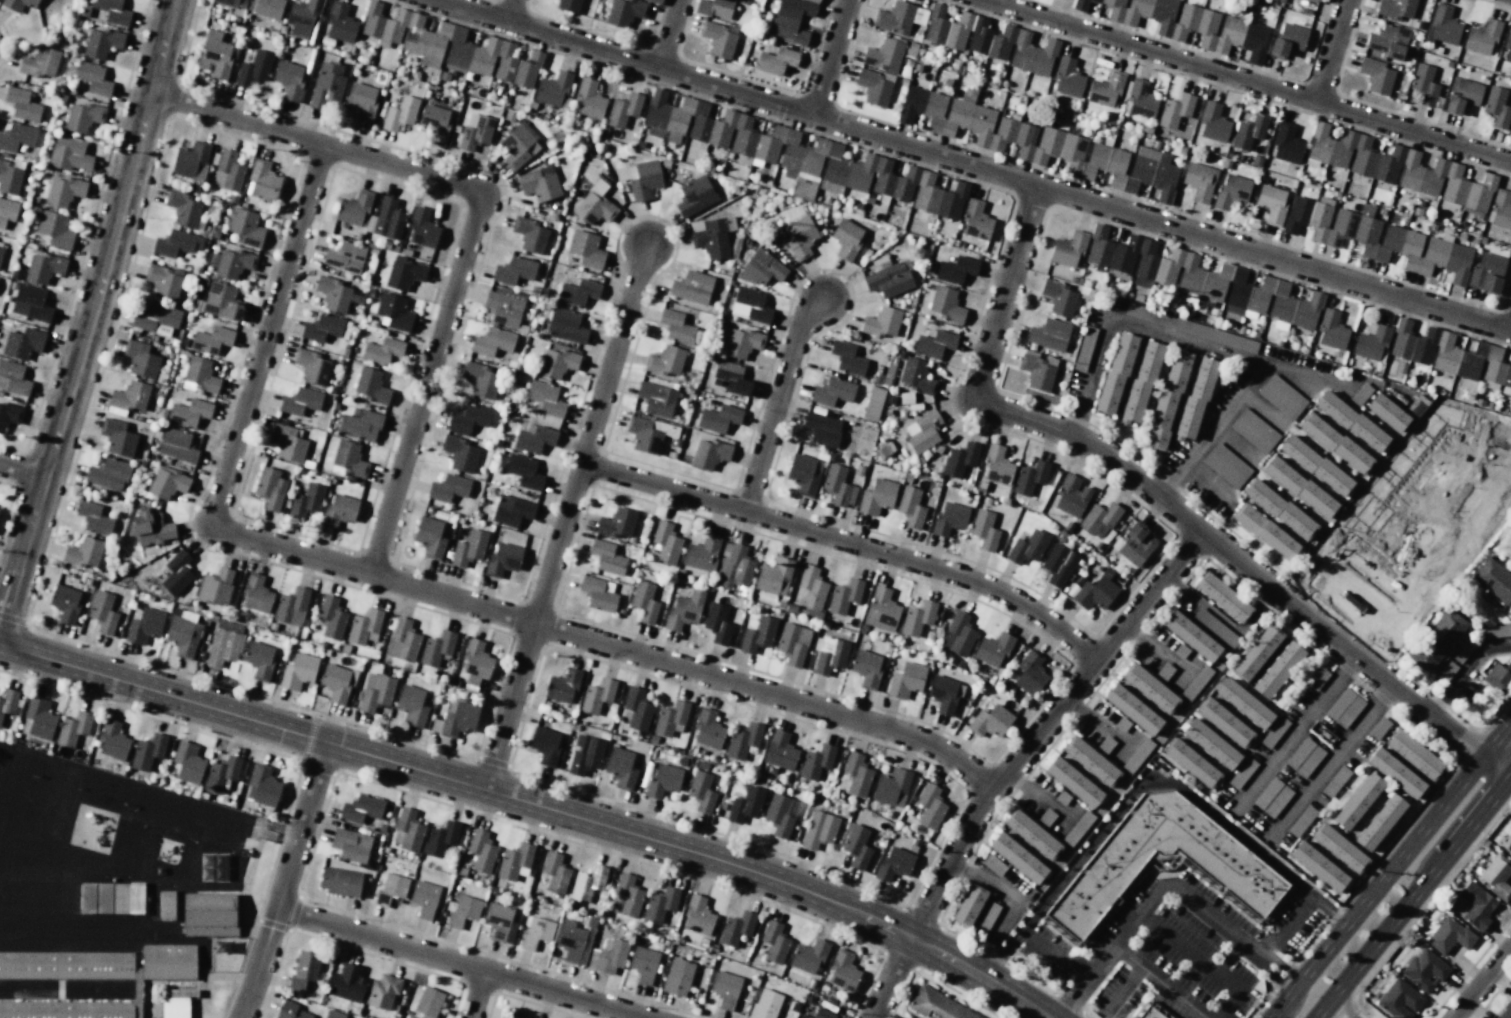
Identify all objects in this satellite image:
building: (656, 0)
building: (1313, 0)
building: (230, 3)
building: (18, 4)
building: (568, 5)
building: (267, 8)
building: (715, 8)
building: (1396, 8)
building: (113, 11)
road: (510, 11)
building: (624, 12)
building: (302, 17)
building: (899, 17)
building: (792, 19)
building: (371, 20)
building: (340, 23)
building: (1189, 24)
building: (1442, 25)
building: (414, 34)
road: (670, 35)
building: (1482, 36)
building: (718, 38)
building: (990, 40)
building: (1287, 40)
building: (1387, 42)
building: (101, 43)
building: (1507, 45)
building: (458, 49)
road: (1333, 52)
building: (214, 55)
building: (884, 55)
road: (832, 59)
building: (776, 61)
building: (40, 62)
building: (505, 62)
building: (253, 69)
building: (1376, 75)
building: (93, 78)
building: (1067, 78)
road: (1244, 82)
building: (1424, 84)
building: (327, 85)
building: (873, 87)
building: (554, 89)
building: (1105, 89)
building: (1461, 95)
building: (589, 99)
building: (1139, 99)
building: (361, 101)
building: (22, 104)
building: (1496, 106)
building: (623, 109)
building: (1175, 110)
building: (656, 112)
building: (400, 113)
building: (82, 117)
building: (435, 122)
building: (1213, 122)
building: (698, 124)
building: (475, 131)
building: (1248, 132)
building: (17, 136)
building: (743, 136)
building: (1038, 141)
road: (317, 144)
building: (1287, 144)
building: (518, 145)
building: (792, 152)
building: (69, 154)
building: (190, 161)
building: (834, 165)
road: (971, 167)
building: (1400, 168)
building: (228, 171)
building: (640, 178)
building: (263, 180)
building: (1199, 181)
building: (539, 183)
building: (64, 191)
building: (1231, 191)
building: (926, 193)
building: (694, 195)
building: (1271, 203)
building: (594, 207)
building: (183, 208)
building: (1500, 210)
building: (7, 211)
building: (351, 214)
building: (976, 220)
building: (245, 227)
building: (422, 228)
building: (55, 229)
building: (529, 234)
building: (800, 237)
building: (711, 238)
building: (846, 238)
building: (1378, 238)
building: (176, 243)
building: (586, 249)
building: (1068, 249)
building: (0, 251)
building: (345, 256)
building: (233, 264)
building: (43, 267)
building: (761, 268)
building: (513, 270)
building: (955, 270)
building: (404, 273)
building: (1486, 273)
building: (888, 278)
building: (1202, 280)
building: (164, 281)
building: (692, 287)
building: (577, 292)
building: (332, 293)
building: (1059, 298)
building: (221, 301)
building: (30, 303)
building: (946, 304)
building: (750, 305)
building: (504, 306)
building: (393, 312)
road: (93, 315)
building: (156, 319)
building: (881, 322)
building: (565, 325)
building: (676, 326)
building: (322, 327)
building: (1331, 330)
road: (270, 331)
building: (1049, 334)
road: (1169, 336)
building: (211, 340)
building: (492, 341)
building: (22, 343)
building: (742, 343)
building: (1371, 343)
building: (934, 344)
building: (381, 351)
building: (1450, 355)
building: (847, 358)
building: (140, 359)
building: (665, 361)
building: (556, 362)
building: (311, 367)
building: (1115, 373)
building: (915, 375)
building: (13, 378)
building: (730, 378)
building: (481, 380)
building: (1141, 382)
building: (371, 385)
road: (426, 387)
building: (832, 391)
building: (1281, 396)
building: (128, 398)
building: (546, 398)
building: (656, 399)
building: (1167, 399)
building: (1195, 399)
building: (300, 401)
road: (778, 402)
building: (873, 403)
building: (189, 412)
building: (1387, 412)
building: (8, 414)
building: (468, 418)
building: (719, 418)
building: (1351, 421)
building: (359, 424)
building: (822, 429)
road: (1211, 429)
building: (922, 432)
building: (117, 437)
building: (534, 438)
building: (287, 443)
building: (1335, 443)
building: (176, 445)
building: (459, 453)
building: (709, 454)
building: (348, 459)
building: (960, 459)
building: (1315, 464)
building: (997, 465)
road: (22, 471)
building: (524, 471)
building: (108, 474)
building: (802, 474)
building: (1030, 477)
building: (167, 482)
building: (838, 486)
building: (1299, 487)
building: (269, 488)
building: (448, 488)
road: (1161, 495)
building: (1071, 496)
building: (876, 497)
building: (306, 501)
building: (910, 506)
building: (1279, 508)
building: (338, 511)
building: (511, 511)
road: (568, 517)
building: (93, 518)
building: (949, 518)
building: (1100, 519)
building: (616, 523)
building: (149, 527)
building: (984, 530)
building: (1265, 531)
building: (429, 537)
building: (665, 542)
building: (1135, 543)
road: (850, 544)
building: (469, 548)
building: (1027, 548)
building: (83, 552)
building: (701, 553)
building: (607, 557)
building: (502, 559)
building: (1058, 564)
building: (734, 566)
building: (176, 573)
building: (773, 574)
building: (1494, 581)
building: (215, 586)
building: (812, 587)
building: (1094, 591)
building: (256, 594)
building: (598, 594)
building: (844, 595)
building: (1222, 597)
building: (644, 601)
building: (64, 603)
building: (291, 607)
building: (684, 610)
building: (881, 610)
building: (102, 612)
building: (331, 617)
building: (917, 618)
road: (1226, 621)
building: (717, 623)
building: (144, 626)
building: (1215, 626)
building: (364, 627)
building: (958, 634)
building: (758, 635)
building: (1190, 635)
building: (182, 636)
building: (402, 640)
building: (1436, 640)
building: (793, 643)
road: (607, 646)
building: (436, 648)
road: (1156, 648)
building: (992, 649)
building: (1180, 650)
building: (1256, 652)
building: (829, 654)
building: (258, 660)
building: (866, 668)
building: (1278, 670)
building: (1164, 671)
building: (298, 672)
road: (1183, 672)
building: (1030, 673)
building: (1498, 677)
building: (1316, 678)
building: (906, 680)
building: (336, 682)
building: (1196, 682)
building: (562, 686)
building: (1149, 687)
building: (376, 692)
building: (944, 694)
building: (597, 695)
building: (7, 701)
building: (1243, 702)
building: (1339, 703)
building: (411, 705)
building: (1132, 708)
building: (637, 711)
building: (1350, 712)
building: (670, 717)
building: (38, 718)
building: (458, 718)
building: (990, 721)
building: (1223, 721)
road: (1099, 722)
building: (1122, 724)
building: (72, 727)
building: (1378, 728)
building: (708, 729)
building: (1274, 731)
road: (1297, 732)
building: (111, 741)
building: (743, 741)
building: (1210, 743)
building: (1105, 744)
building: (545, 745)
road: (1124, 745)
building: (780, 751)
building: (146, 752)
building: (1299, 752)
building: (585, 754)
building: (1415, 754)
building: (1137, 755)
road: (1502, 756)
building: (1089, 760)
building: (816, 761)
road: (1016, 761)
building: (1191, 761)
building: (1309, 761)
building: (187, 762)
road: (1330, 762)
building: (621, 767)
building: (1243, 772)
building: (1395, 773)
building: (221, 774)
building: (856, 774)
building: (663, 780)
building: (1072, 781)
building: (1335, 781)
road: (1145, 783)
building: (263, 785)
building: (891, 787)
building: (1425, 790)
building: (701, 791)
building: (1266, 792)
building: (1062, 797)
building: (1357, 800)
building: (1277, 801)
road: (533, 805)
building: (745, 805)
building: (930, 806)
building: (360, 809)
building: (778, 815)
parking lot: (191, 817)
road: (205, 817)
building: (1045, 817)
building: (1302, 820)
building: (1380, 821)
building: (1078, 828)
building: (408, 829)
building: (819, 830)
building: (1031, 834)
building: (1510, 835)
building: (440, 838)
building: (350, 844)
building: (856, 846)
building: (1339, 847)
building: (481, 851)
building: (1016, 857)
building: (1510, 857)
building: (513, 860)
building: (893, 864)
building: (993, 864)
building: (1318, 865)
building: (554, 872)
building: (1234, 874)
building: (1496, 876)
road: (283, 881)
building: (339, 881)
building: (1348, 882)
building: (586, 883)
road: (1160, 885)
road: (1378, 886)
building: (389, 889)
road: (1006, 892)
road: (1416, 895)
building: (625, 897)
building: (136, 898)
building: (423, 898)
building: (88, 899)
building: (104, 899)
building: (121, 899)
building: (659, 904)
building: (967, 904)
building: (1477, 905)
building: (167, 906)
building: (463, 911)
building: (209, 914)
building: (697, 916)
building: (986, 917)
building: (497, 920)
building: (735, 928)
building: (536, 931)
building: (1450, 936)
building: (575, 940)
building: (773, 941)
building: (611, 956)
building: (808, 956)
road: (1228, 957)
road: (1202, 961)
road: (455, 963)
building: (642, 964)
road: (1283, 965)
building: (1425, 969)
building: (303, 970)
building: (842, 971)
building: (678, 977)
road: (1272, 977)
building: (95, 978)
road: (1158, 982)
road: (1481, 982)
building: (345, 983)
building: (725, 988)
road: (1123, 990)
building: (382, 991)
building: (179, 993)
road: (478, 994)
building: (1399, 999)
road: (1074, 1000)
building: (427, 1002)
building: (764, 1005)
building: (934, 1006)
building: (175, 1008)
building: (289, 1010)
building: (1505, 1011)
road: (1332, 1012)
building: (821, 1013)
building: (332, 1014)
building: (1149, 1014)
building: (511, 1015)
building: (803, 1016)

